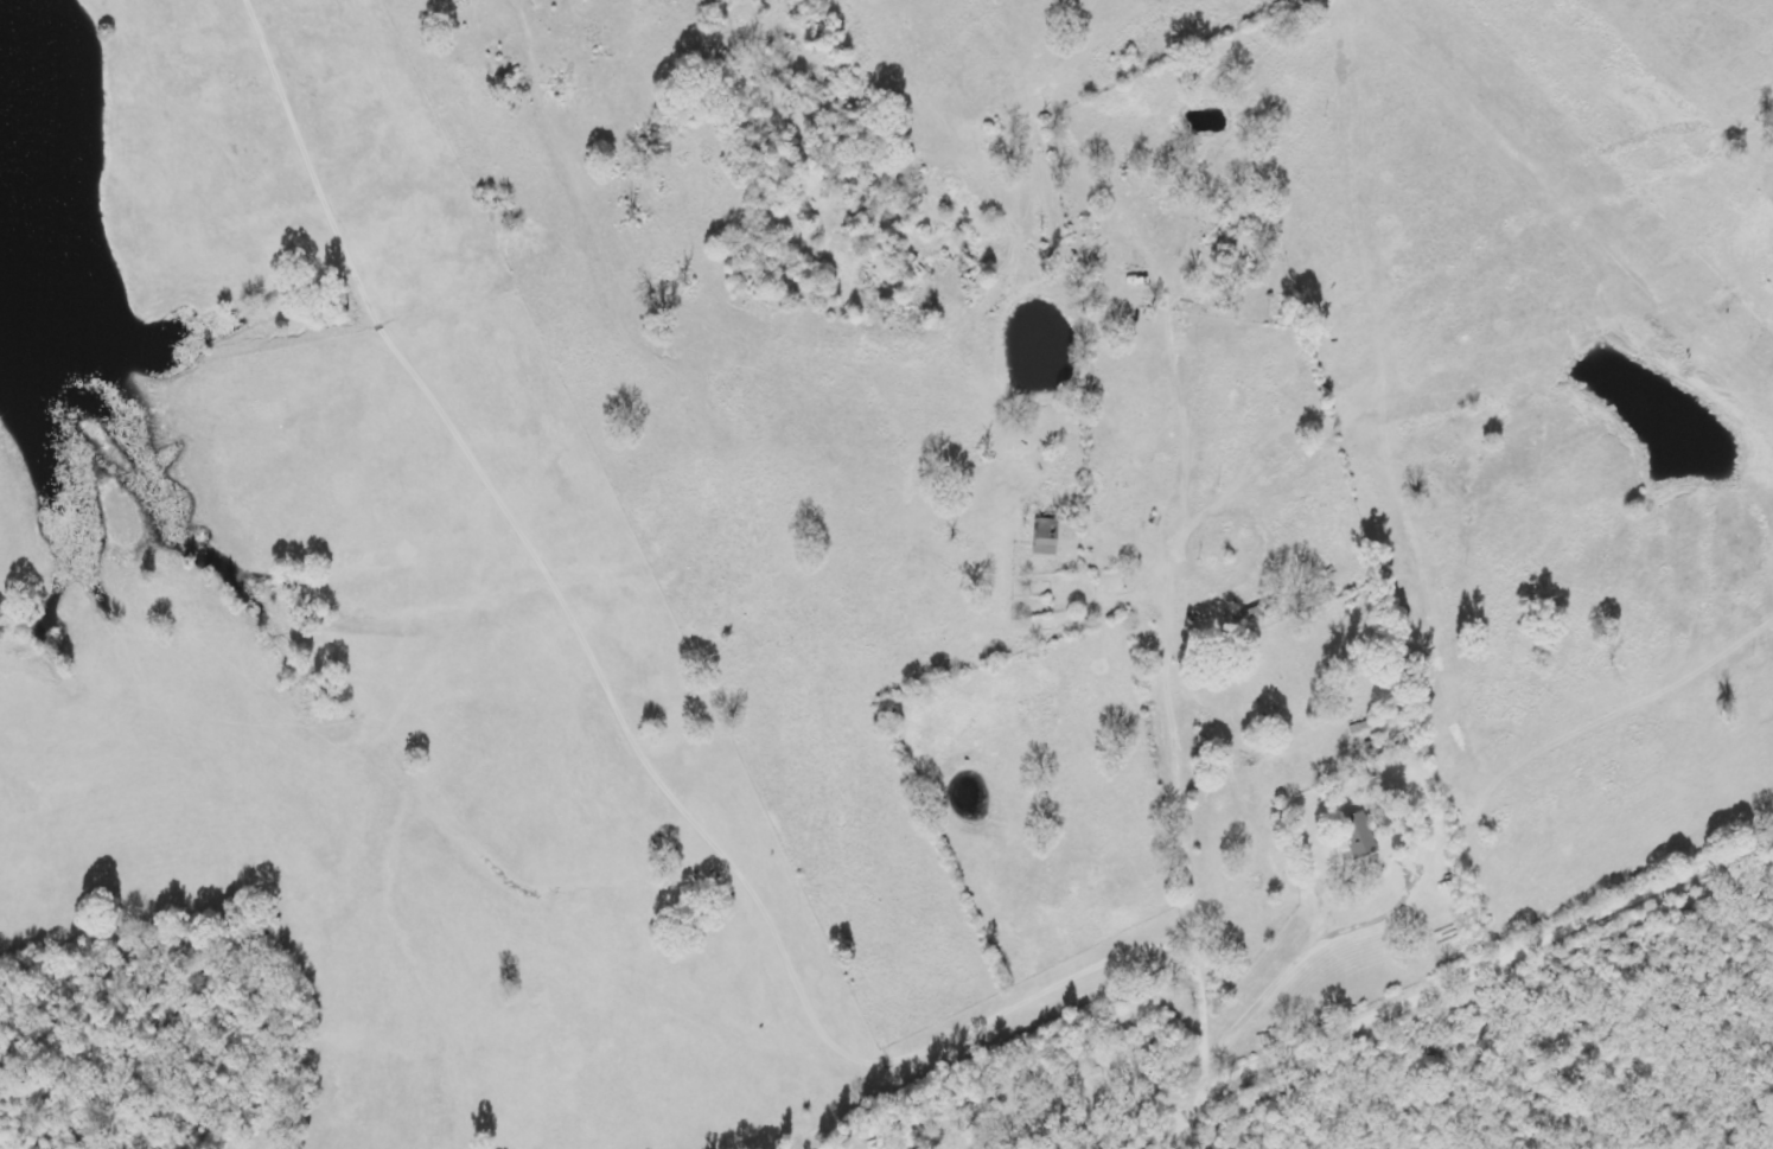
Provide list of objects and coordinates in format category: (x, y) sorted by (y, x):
road: (1176, 532)
building: (1358, 836)
road: (1459, 972)

